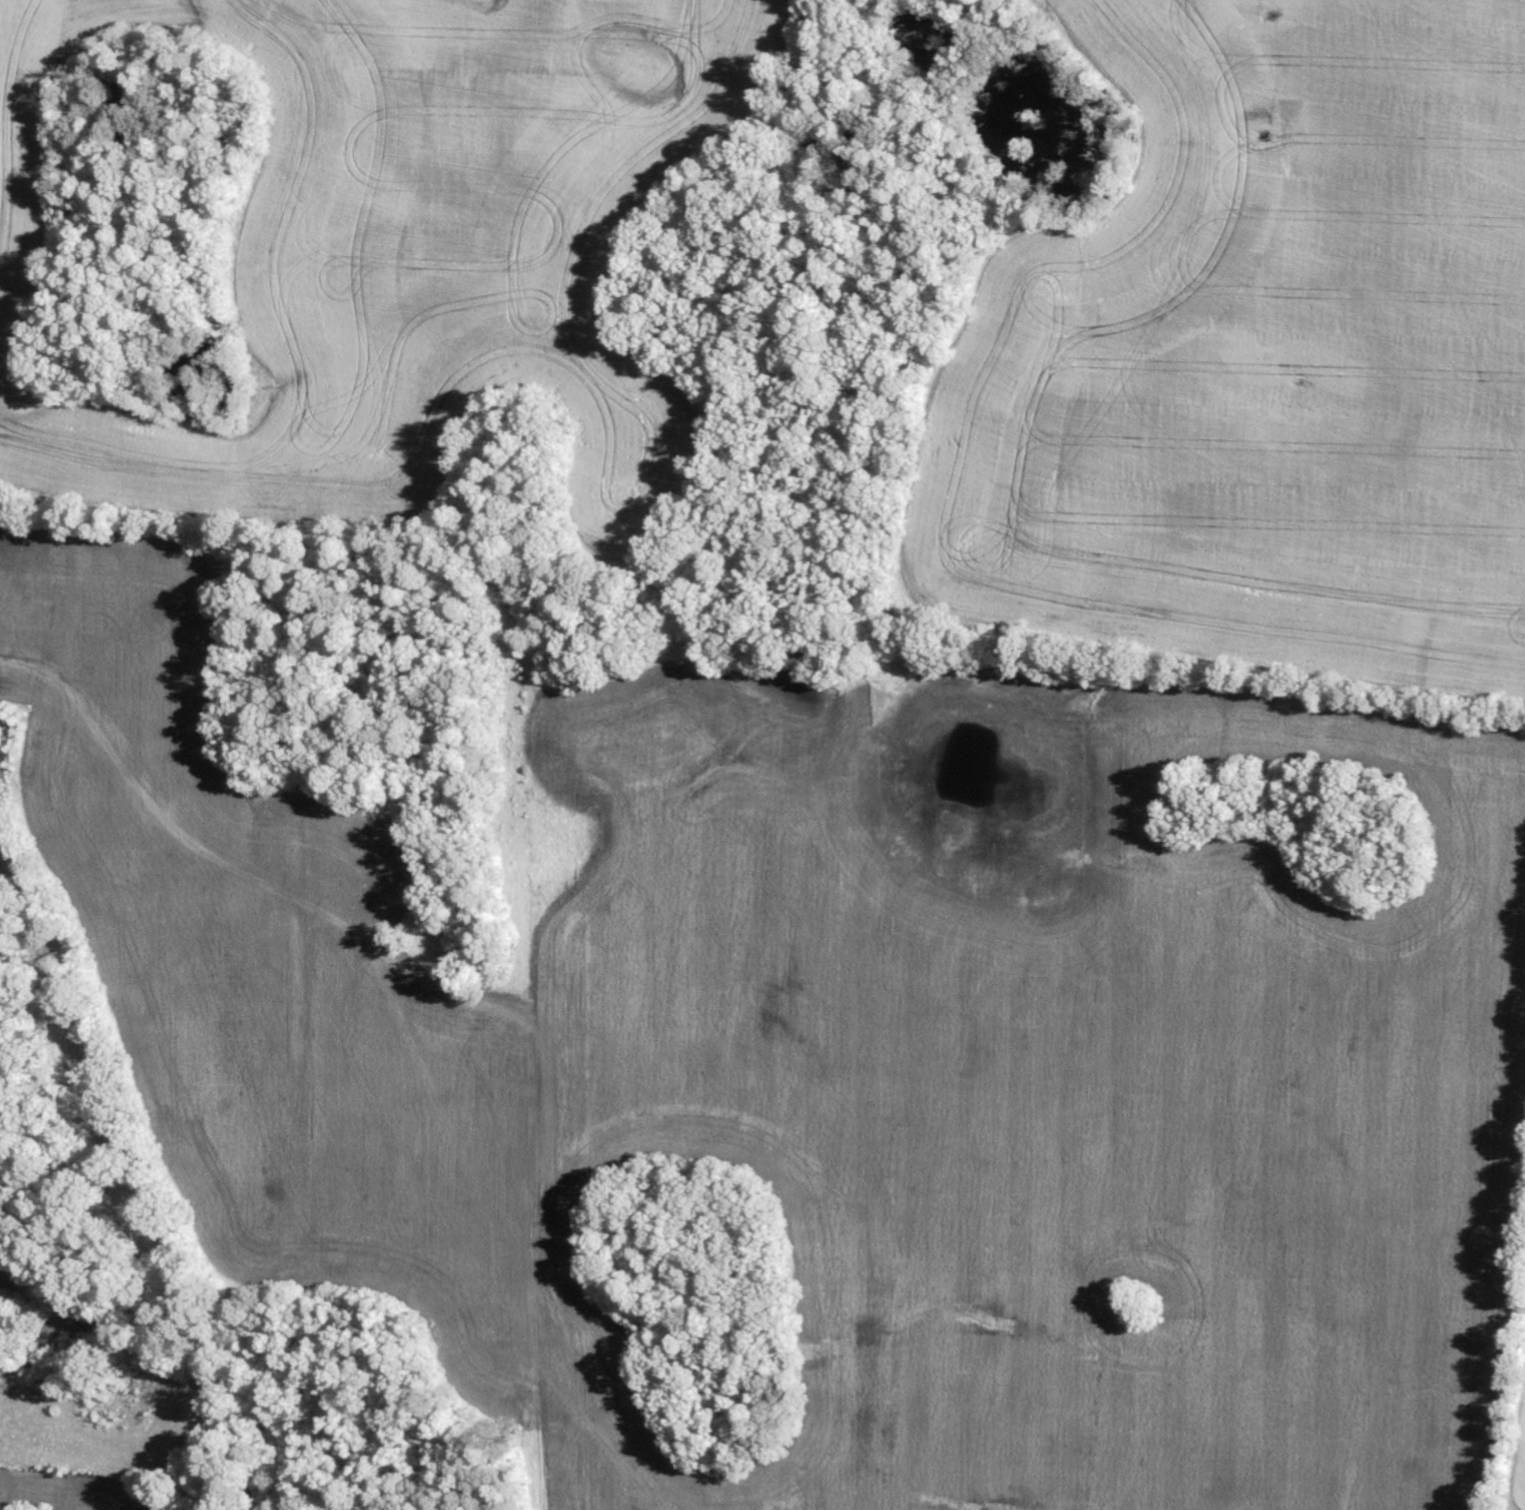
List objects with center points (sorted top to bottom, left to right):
road: (354, 1171)
road: (328, 1429)

